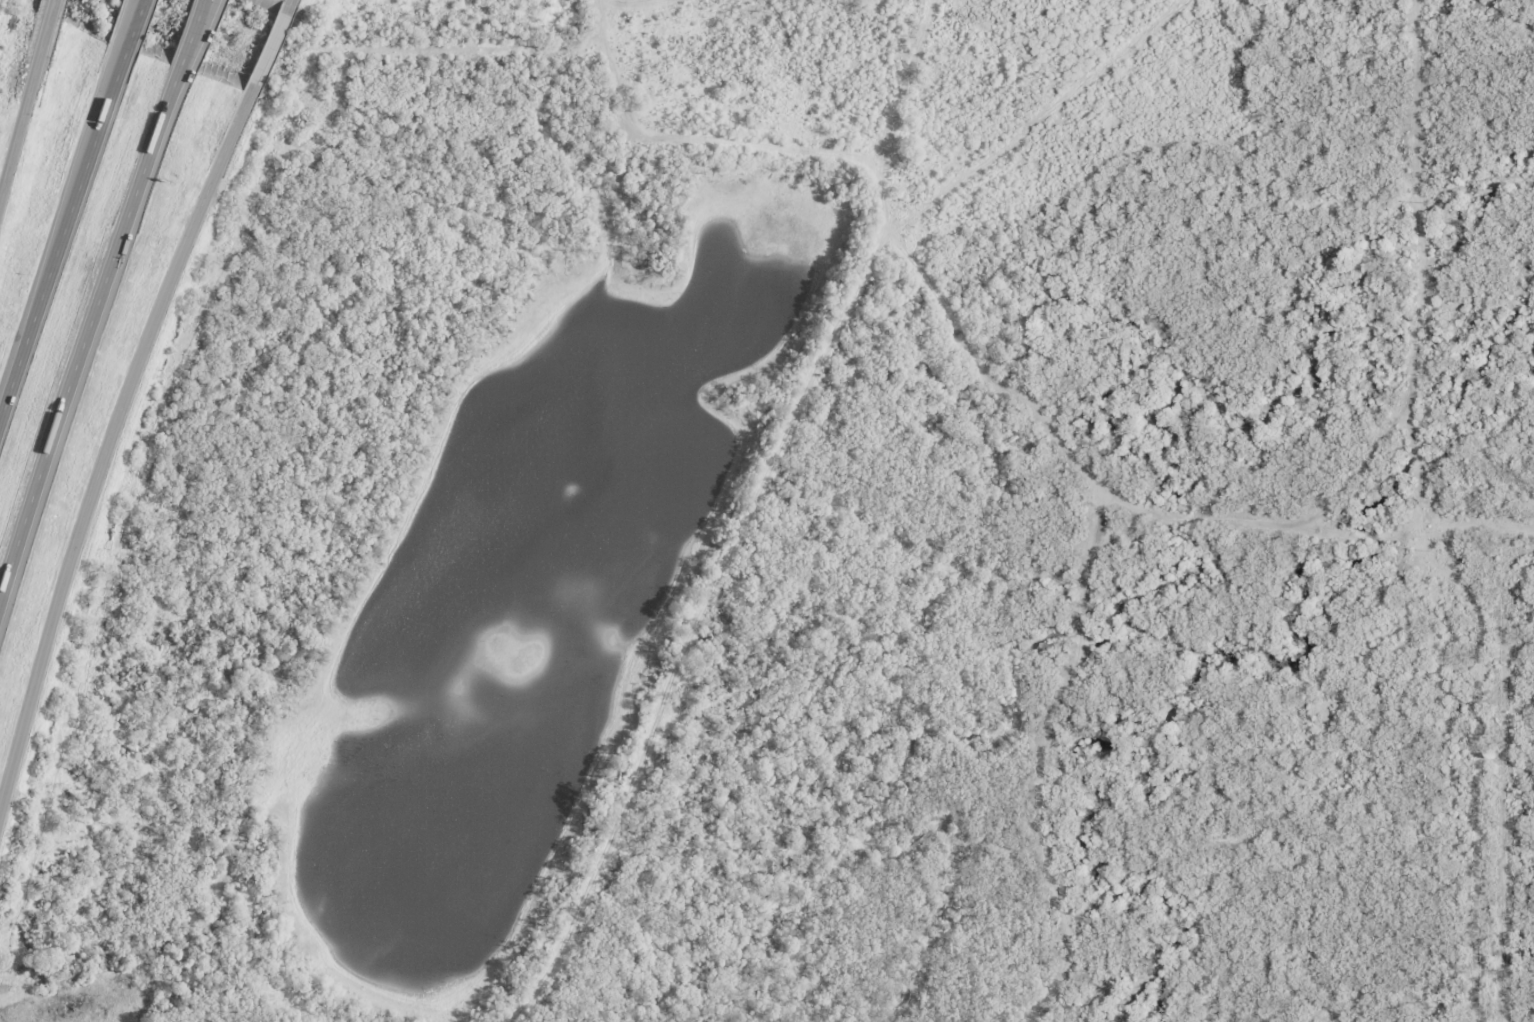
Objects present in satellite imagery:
road: (288, 0)
road: (626, 3)
road: (50, 8)
road: (124, 24)
road: (133, 25)
road: (190, 33)
road: (197, 33)
road: (268, 47)
road: (24, 106)
road: (86, 149)
road: (61, 233)
road: (86, 331)
road: (106, 445)

